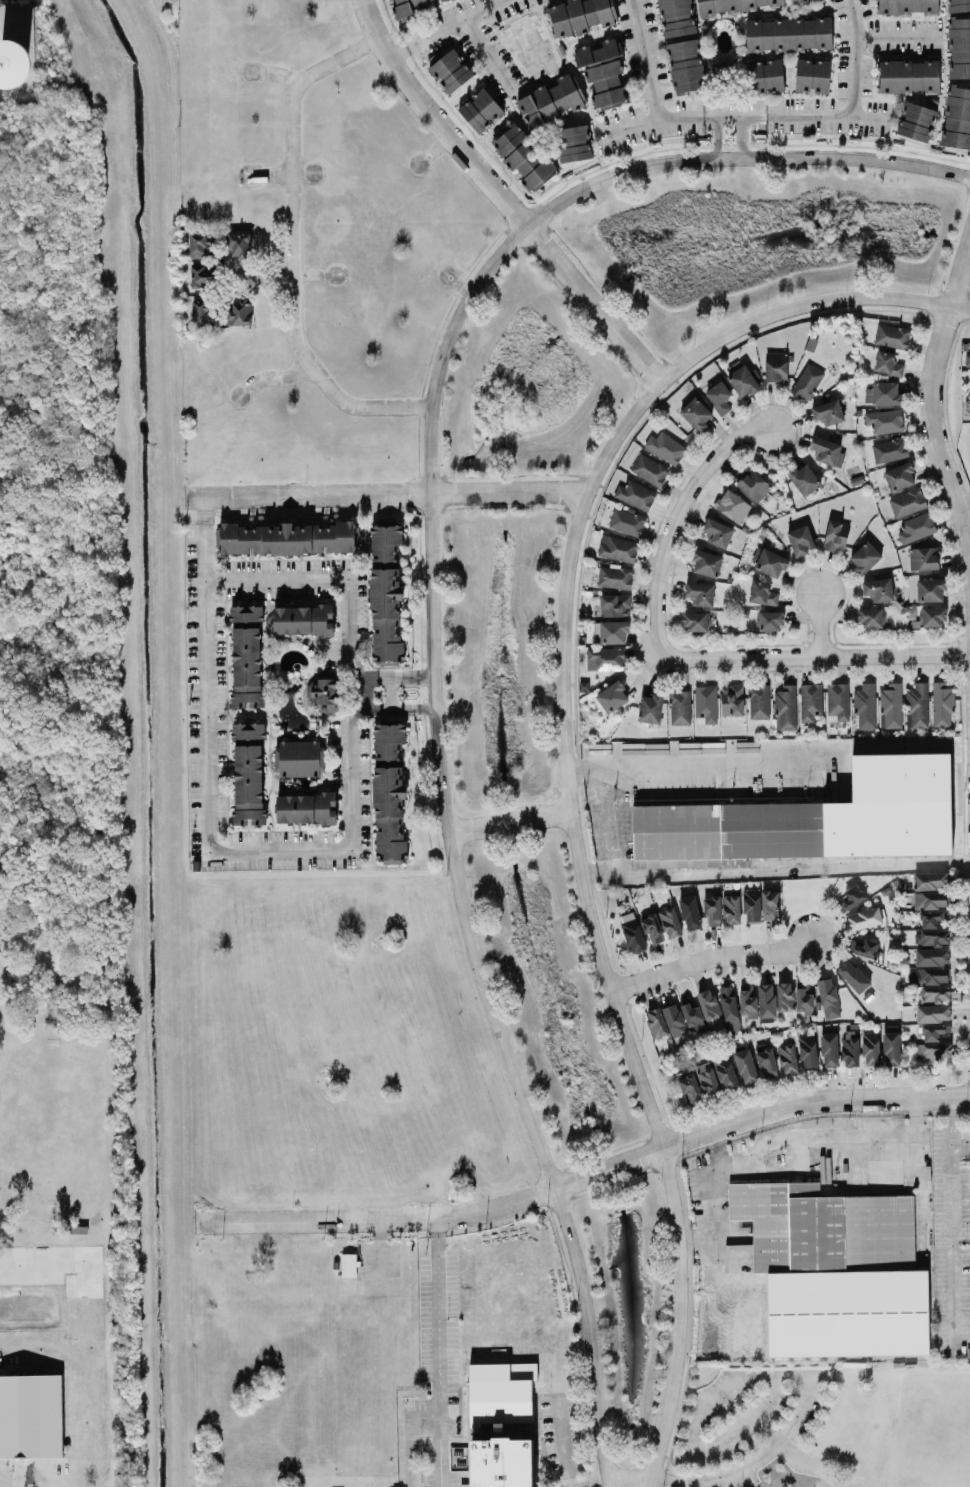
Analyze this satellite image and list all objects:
building: (798, 1)
building: (731, 5)
building: (958, 5)
building: (411, 6)
building: (907, 6)
building: (580, 15)
building: (676, 17)
road: (442, 26)
building: (789, 33)
road: (898, 36)
road: (492, 44)
building: (959, 46)
road: (858, 57)
road: (652, 60)
building: (16, 62)
water tower: (13, 64)
building: (685, 65)
building: (448, 69)
building: (603, 72)
building: (765, 74)
building: (812, 74)
building: (909, 75)
building: (551, 99)
building: (480, 109)
road: (753, 116)
building: (957, 116)
building: (916, 121)
road: (743, 137)
road: (717, 138)
building: (573, 142)
building: (523, 156)
road: (503, 196)
building: (199, 243)
building: (240, 244)
road: (298, 249)
building: (201, 276)
building: (201, 312)
building: (240, 313)
building: (892, 335)
building: (967, 358)
building: (887, 363)
building: (776, 365)
road: (276, 376)
building: (741, 378)
building: (807, 381)
building: (886, 392)
building: (719, 396)
road: (933, 398)
building: (828, 411)
building: (696, 413)
building: (883, 421)
building: (665, 447)
building: (889, 449)
building: (827, 451)
building: (650, 469)
building: (899, 475)
building: (804, 478)
building: (753, 484)
road: (396, 494)
building: (635, 494)
building: (907, 501)
road: (437, 502)
road: (574, 502)
building: (733, 505)
road: (503, 507)
road: (675, 518)
building: (627, 521)
building: (917, 526)
building: (836, 535)
building: (287, 537)
building: (800, 539)
building: (617, 548)
building: (864, 556)
building: (923, 557)
building: (772, 561)
building: (706, 562)
building: (615, 576)
road: (442, 581)
building: (878, 588)
building: (930, 589)
building: (386, 591)
building: (762, 592)
building: (700, 593)
building: (615, 604)
building: (870, 617)
building: (303, 619)
building: (695, 620)
building: (770, 620)
road: (432, 623)
road: (819, 625)
building: (612, 630)
building: (247, 655)
road: (815, 657)
building: (605, 658)
road: (396, 678)
building: (324, 693)
road: (392, 693)
building: (612, 696)
building: (732, 699)
building: (810, 700)
building: (758, 701)
building: (837, 701)
building: (706, 703)
building: (942, 704)
building: (865, 705)
building: (891, 705)
building: (918, 705)
building: (679, 706)
road: (396, 707)
building: (650, 707)
building: (785, 707)
building: (298, 757)
road: (705, 763)
road: (567, 764)
building: (248, 772)
road: (556, 778)
building: (389, 791)
building: (306, 807)
building: (896, 808)
road: (510, 822)
building: (724, 832)
road: (325, 847)
building: (931, 879)
building: (850, 898)
building: (930, 899)
building: (751, 904)
building: (769, 904)
building: (712, 907)
building: (731, 908)
building: (690, 912)
building: (930, 917)
building: (865, 918)
building: (669, 921)
building: (652, 927)
building: (632, 931)
building: (932, 937)
building: (864, 947)
building: (932, 956)
road: (709, 959)
building: (932, 974)
building: (854, 976)
building: (936, 993)
building: (784, 996)
building: (828, 996)
building: (868, 996)
building: (803, 997)
building: (747, 998)
building: (766, 999)
building: (728, 1002)
building: (709, 1006)
building: (933, 1012)
building: (692, 1015)
building: (674, 1020)
building: (655, 1021)
building: (933, 1031)
building: (850, 1047)
building: (870, 1047)
building: (891, 1048)
building: (829, 1049)
building: (808, 1050)
building: (933, 1051)
building: (787, 1057)
building: (767, 1062)
building: (746, 1065)
building: (725, 1072)
building: (707, 1078)
building: (689, 1087)
road: (779, 1140)
road: (960, 1142)
road: (718, 1150)
road: (586, 1176)
road: (950, 1221)
building: (348, 1264)
building: (848, 1313)
building: (745, 1321)
road: (438, 1353)
road: (786, 1374)
building: (31, 1416)
road: (425, 1416)
park: (934, 1432)
road: (564, 1439)
road: (705, 1445)
road: (411, 1451)
road: (797, 1458)
road: (753, 1460)
road: (627, 1479)
road: (588, 1480)
road: (60, 1486)

